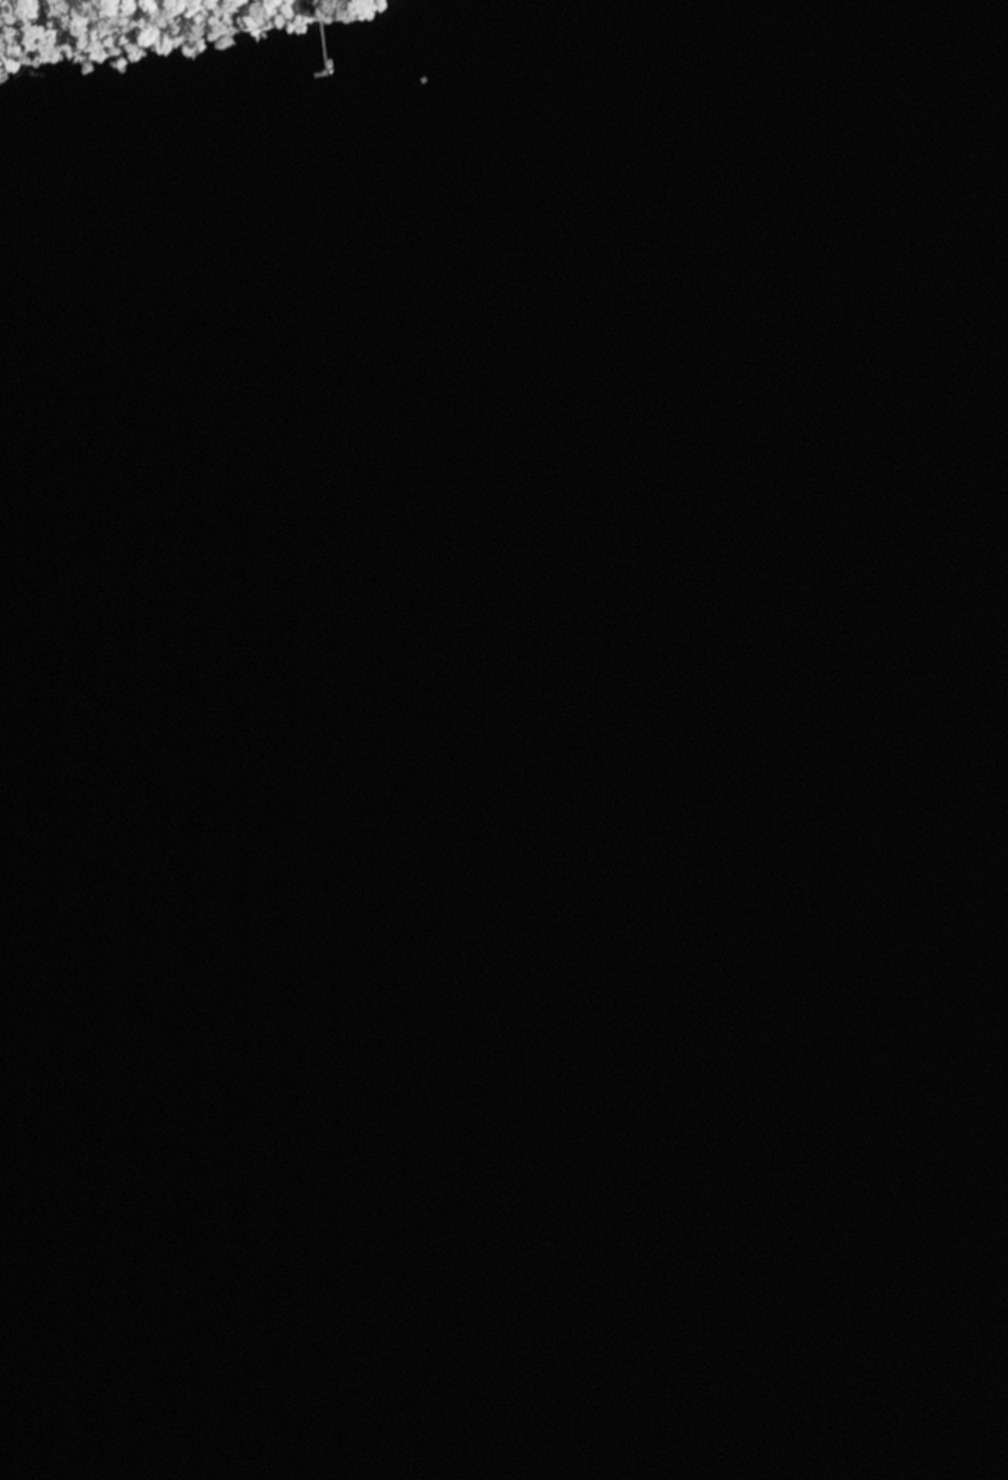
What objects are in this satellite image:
river: (93, 1380)

